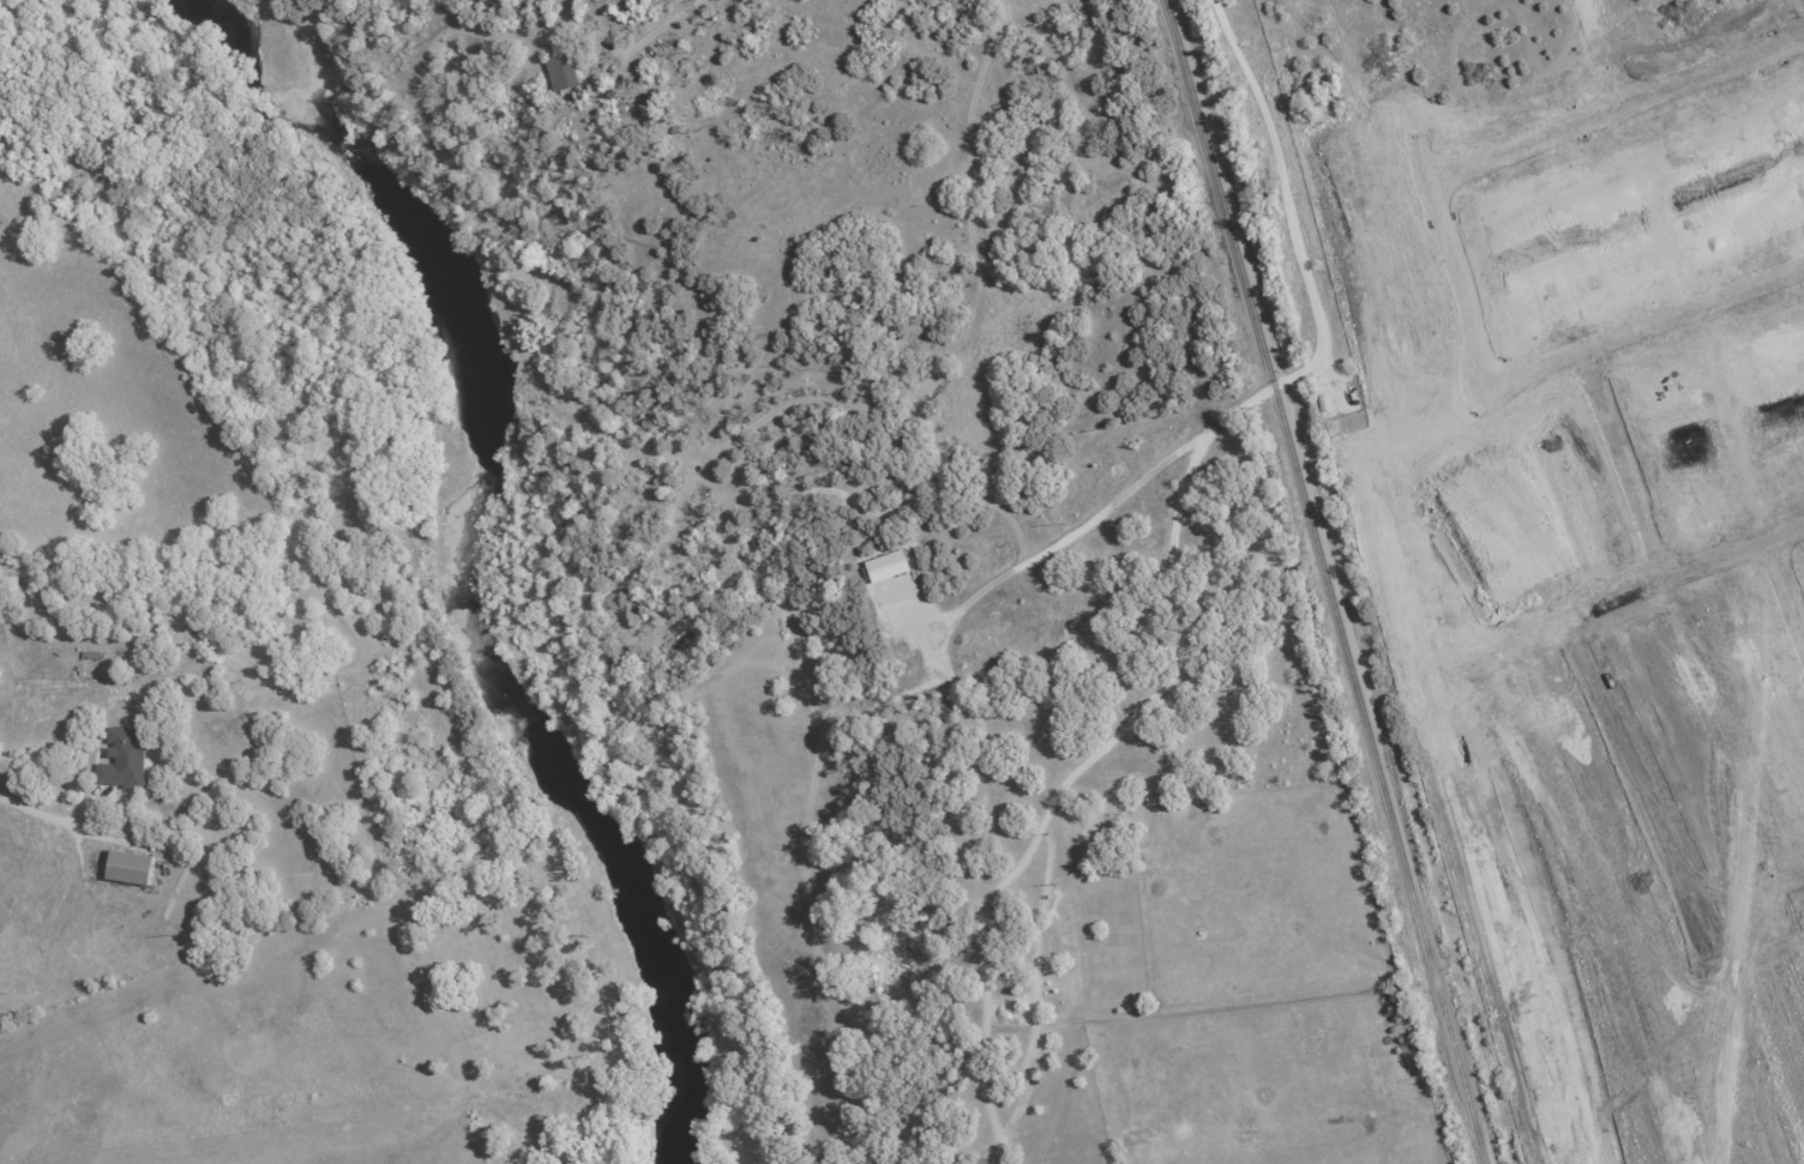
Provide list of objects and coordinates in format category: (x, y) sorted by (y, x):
road: (1803, 2)
road: (663, 24)
road: (1601, 54)
road: (1385, 68)
building: (560, 72)
road: (1614, 109)
road: (1454, 259)
road: (1642, 326)
road: (1623, 463)
river: (488, 554)
road: (1682, 571)
railway: (1329, 580)
road: (1785, 591)
building: (124, 759)
road: (35, 809)
building: (1084, 825)
building: (130, 867)
road: (1679, 887)
road: (1752, 927)
building: (1045, 946)
building: (1005, 978)

